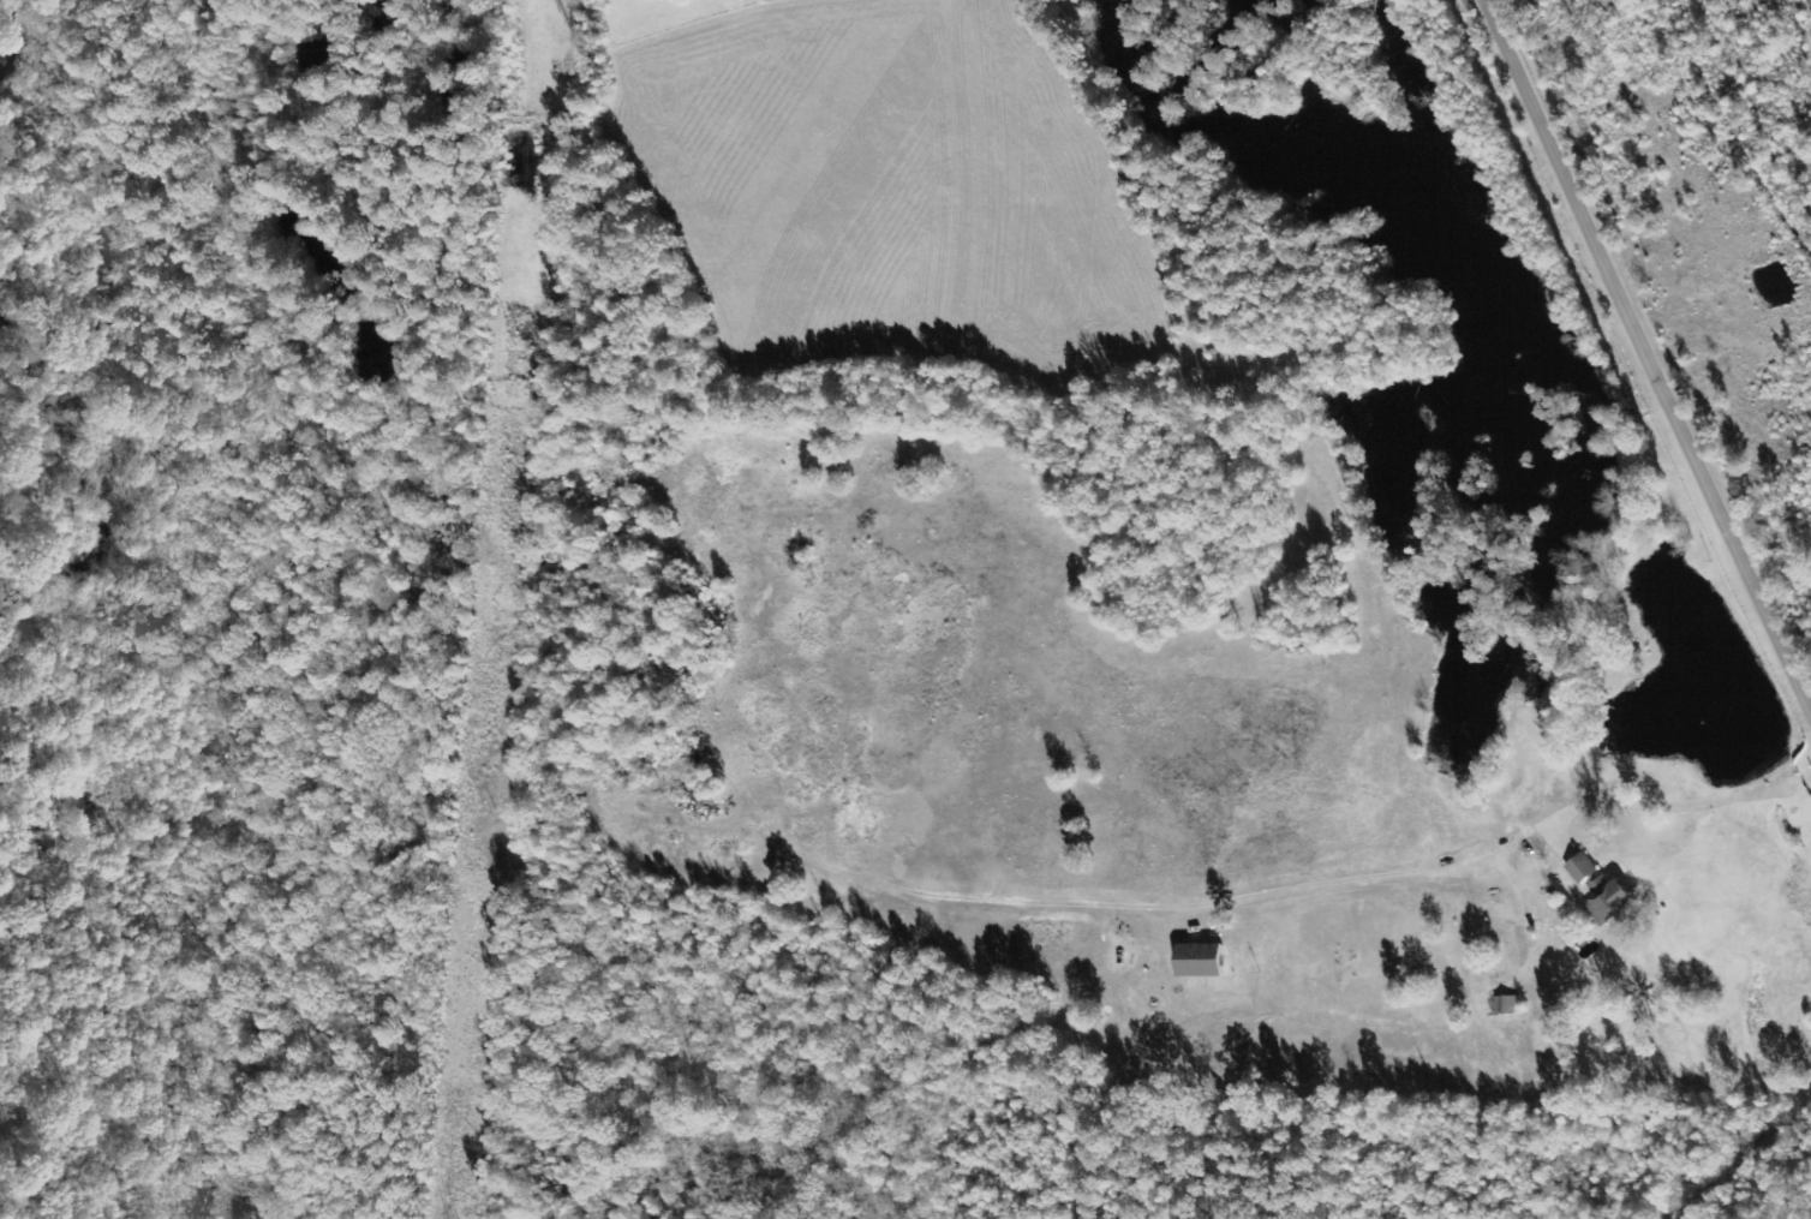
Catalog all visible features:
road: (1651, 347)
building: (1579, 868)
building: (1607, 900)
road: (1191, 927)
building: (1197, 960)
building: (1505, 1004)

